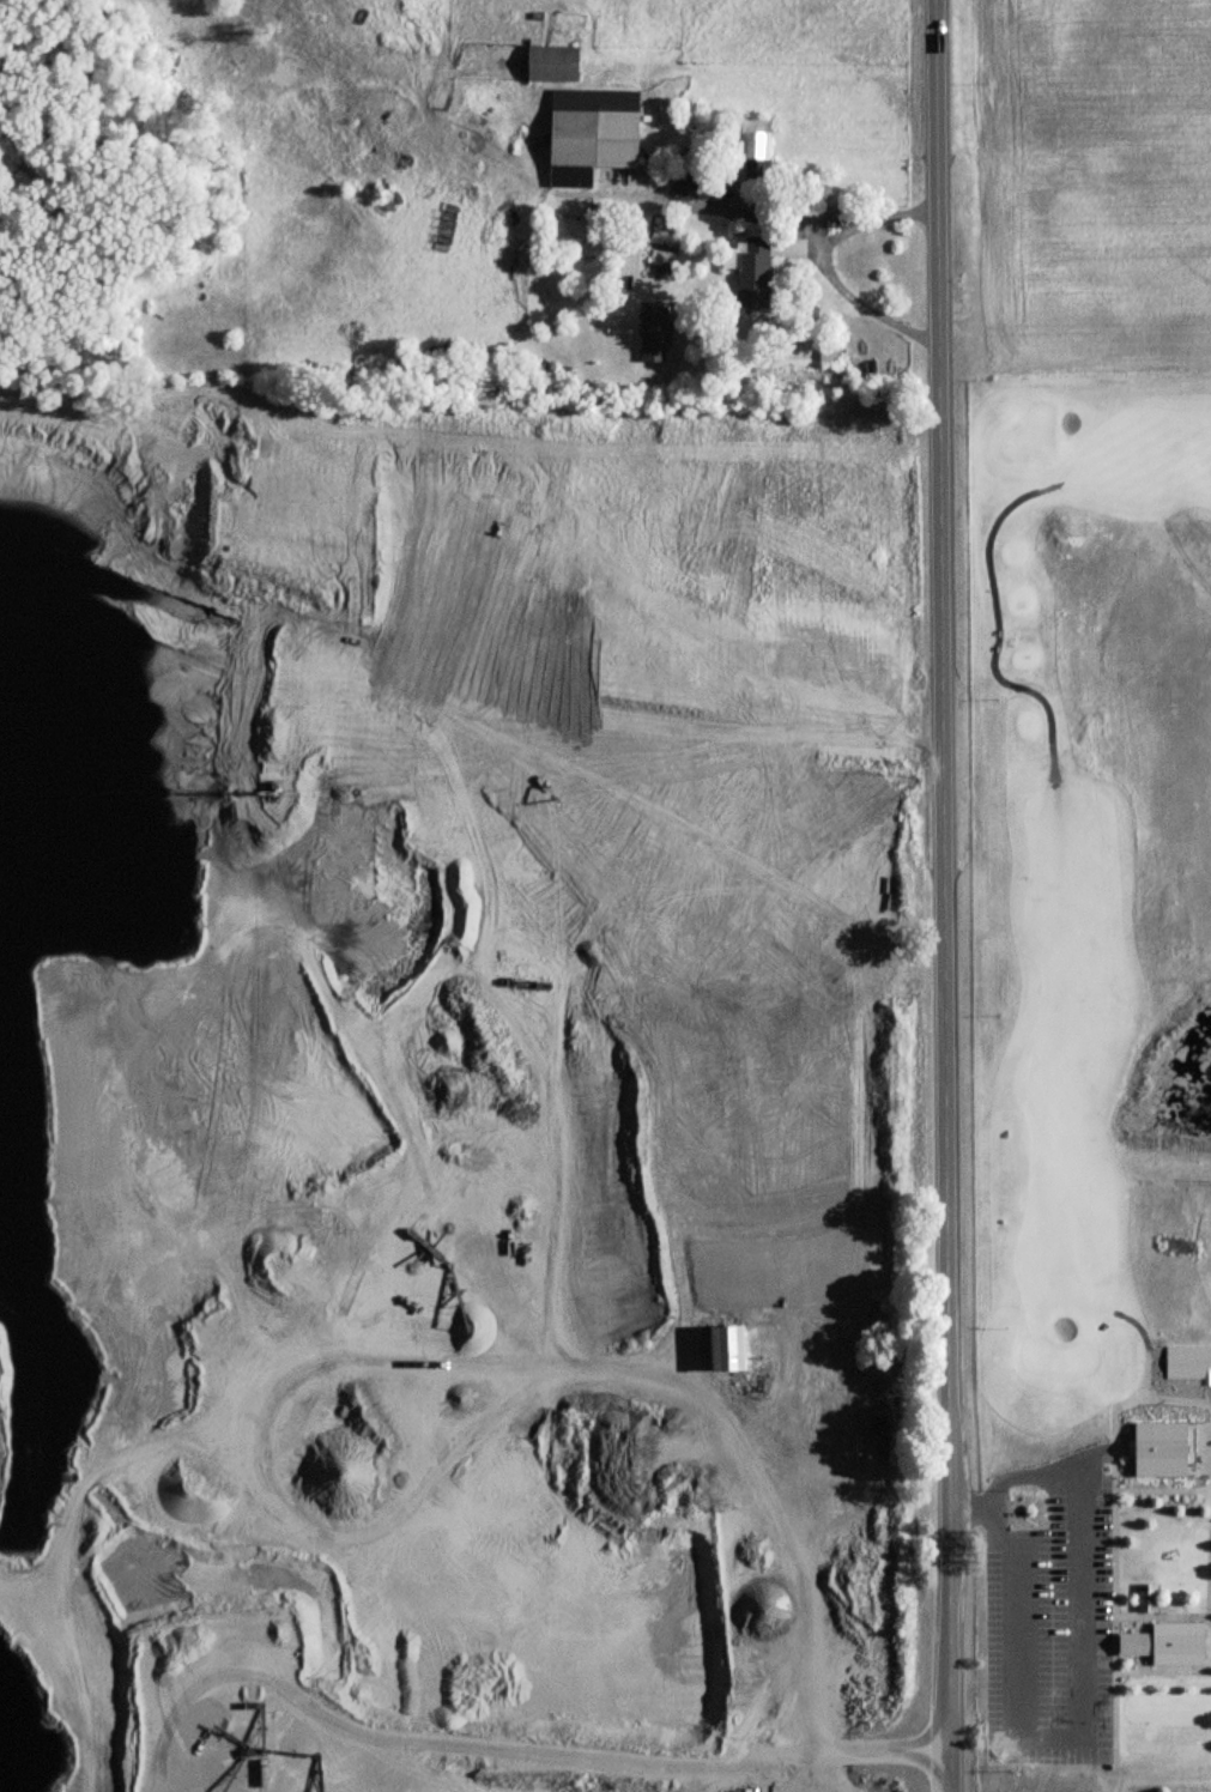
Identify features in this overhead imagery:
building: (555, 63)
building: (594, 134)
building: (757, 140)
building: (696, 182)
road: (768, 206)
building: (849, 262)
building: (751, 270)
road: (852, 296)
building: (656, 333)
building: (829, 357)
road: (941, 895)
building: (729, 1351)
building: (1159, 1449)
road: (1083, 1519)
building: (1148, 1598)
parking lot: (1047, 1624)
building: (1170, 1646)
road: (709, 1768)

